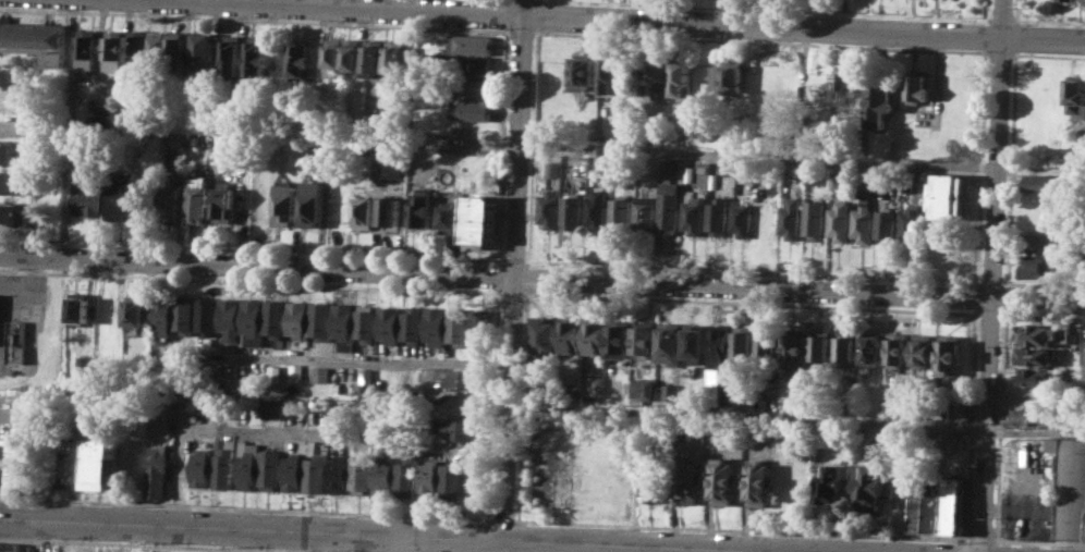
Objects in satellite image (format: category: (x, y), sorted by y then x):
road: (538, 0)
building: (1068, 0)
building: (1083, 1)
road: (783, 10)
road: (985, 11)
road: (1015, 11)
road: (507, 13)
road: (537, 13)
road: (254, 19)
road: (625, 20)
road: (999, 20)
road: (1048, 21)
road: (521, 29)
road: (984, 35)
road: (1014, 36)
building: (34, 38)
road: (760, 41)
building: (473, 44)
building: (158, 48)
building: (86, 49)
building: (112, 49)
building: (174, 49)
building: (200, 50)
building: (136, 52)
road: (999, 52)
building: (231, 53)
building: (353, 54)
road: (1048, 54)
building: (333, 56)
building: (397, 56)
building: (374, 57)
building: (256, 59)
building: (302, 59)
building: (472, 66)
building: (584, 71)
building: (608, 76)
building: (629, 76)
building: (661, 77)
building: (841, 77)
building: (733, 78)
building: (682, 81)
building: (471, 88)
building: (919, 88)
building: (1076, 97)
building: (880, 103)
building: (471, 110)
building: (733, 143)
road: (501, 145)
road: (532, 146)
building: (14, 152)
road: (757, 157)
road: (978, 167)
building: (552, 168)
road: (1009, 168)
building: (727, 169)
building: (688, 172)
building: (1041, 181)
building: (836, 182)
building: (11, 183)
building: (864, 188)
building: (123, 195)
building: (949, 195)
building: (87, 197)
building: (668, 198)
building: (197, 199)
building: (223, 201)
building: (170, 203)
building: (310, 203)
building: (284, 204)
building: (548, 206)
building: (571, 207)
building: (596, 209)
building: (389, 210)
building: (419, 211)
building: (363, 212)
building: (620, 212)
building: (11, 213)
building: (644, 213)
building: (693, 214)
building: (449, 216)
building: (718, 216)
building: (742, 218)
building: (791, 218)
building: (479, 219)
building: (815, 219)
building: (840, 221)
building: (864, 221)
building: (887, 223)
building: (911, 224)
building: (1038, 243)
road: (249, 247)
road: (510, 259)
building: (1038, 265)
road: (513, 270)
road: (751, 270)
road: (496, 274)
road: (990, 275)
road: (527, 277)
road: (542, 278)
road: (251, 281)
road: (990, 282)
road: (1043, 284)
road: (495, 289)
road: (511, 294)
road: (974, 296)
road: (1003, 298)
road: (749, 303)
building: (78, 309)
building: (136, 309)
building: (184, 312)
building: (162, 314)
road: (989, 314)
building: (207, 315)
road: (1041, 316)
building: (230, 317)
building: (276, 317)
building: (298, 318)
building: (321, 320)
building: (252, 321)
building: (366, 321)
building: (389, 322)
building: (344, 323)
building: (413, 324)
building: (436, 324)
building: (459, 326)
building: (480, 326)
building: (1035, 333)
building: (571, 334)
building: (546, 335)
building: (596, 335)
building: (646, 336)
building: (621, 338)
building: (16, 340)
building: (670, 341)
building: (697, 342)
building: (745, 342)
building: (770, 343)
building: (797, 344)
building: (720, 345)
building: (846, 347)
building: (228, 348)
building: (821, 348)
building: (873, 348)
building: (923, 348)
building: (898, 351)
building: (949, 351)
building: (1034, 356)
road: (330, 360)
building: (84, 363)
building: (296, 370)
building: (275, 371)
building: (321, 372)
building: (232, 375)
building: (247, 375)
building: (1037, 376)
building: (468, 379)
building: (366, 381)
building: (599, 385)
building: (644, 389)
building: (671, 391)
building: (209, 402)
road: (522, 402)
building: (292, 404)
building: (764, 404)
road: (491, 406)
building: (272, 408)
road: (746, 414)
building: (1034, 416)
road: (970, 422)
road: (999, 426)
building: (462, 429)
building: (716, 429)
road: (329, 434)
building: (100, 463)
building: (224, 463)
building: (13, 464)
building: (246, 464)
building: (200, 467)
building: (269, 467)
building: (156, 471)
building: (292, 471)
building: (314, 473)
building: (339, 473)
building: (361, 474)
building: (385, 475)
building: (406, 476)
building: (429, 478)
building: (451, 479)
building: (653, 479)
building: (564, 480)
building: (724, 480)
building: (687, 481)
building: (760, 482)
building: (832, 482)
building: (869, 483)
building: (1069, 486)
building: (942, 504)
road: (245, 507)
building: (915, 513)
parking lot: (1028, 514)
road: (502, 518)
road: (739, 528)
road: (379, 533)
road: (980, 539)
road: (259, 540)
road: (1040, 541)
road: (379, 543)
road: (166, 544)
building: (9, 547)

